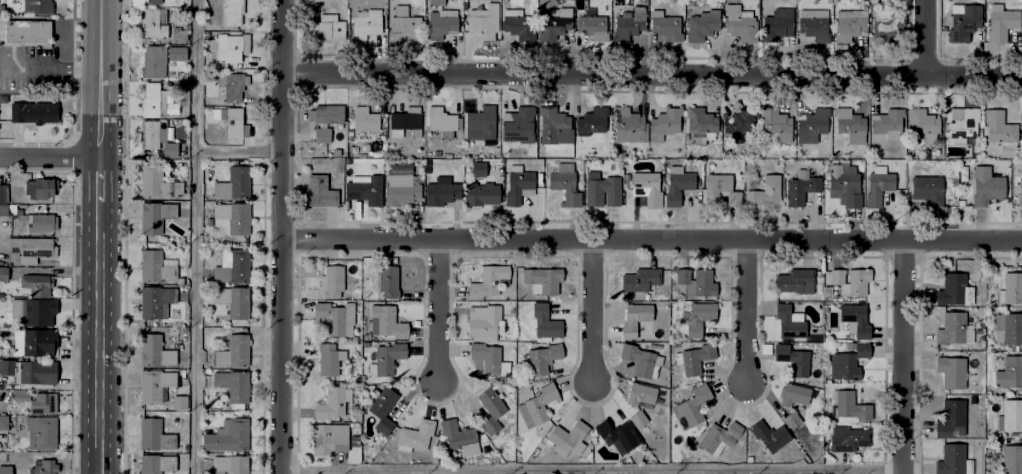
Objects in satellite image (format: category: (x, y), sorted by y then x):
building: (152, 1)
building: (435, 1)
building: (38, 6)
building: (232, 12)
building: (483, 20)
building: (963, 20)
building: (153, 22)
building: (365, 22)
building: (404, 22)
building: (440, 22)
building: (553, 22)
building: (739, 22)
building: (1002, 22)
building: (628, 23)
building: (776, 23)
building: (812, 23)
building: (885, 23)
building: (517, 24)
building: (664, 24)
building: (848, 24)
building: (592, 25)
building: (700, 25)
building: (327, 26)
building: (941, 28)
building: (29, 30)
building: (177, 33)
road: (927, 40)
building: (227, 47)
building: (175, 52)
building: (152, 61)
road: (51, 70)
road: (652, 77)
road: (101, 79)
building: (230, 85)
building: (149, 98)
building: (34, 110)
building: (327, 112)
building: (230, 115)
building: (405, 117)
building: (364, 118)
building: (590, 119)
building: (442, 120)
building: (740, 120)
building: (701, 121)
building: (480, 122)
building: (664, 122)
building: (776, 122)
building: (887, 122)
building: (922, 122)
building: (516, 123)
building: (627, 123)
building: (811, 123)
building: (962, 123)
building: (850, 125)
building: (553, 126)
building: (999, 126)
building: (148, 133)
building: (321, 133)
building: (168, 148)
road: (240, 152)
road: (50, 160)
building: (477, 167)
building: (399, 169)
road: (101, 180)
building: (233, 182)
building: (563, 182)
building: (879, 182)
building: (156, 183)
building: (517, 183)
building: (677, 183)
building: (843, 183)
building: (646, 186)
building: (986, 186)
building: (1020, 186)
building: (722, 187)
building: (40, 188)
building: (363, 188)
building: (399, 188)
building: (800, 188)
building: (926, 188)
building: (601, 189)
building: (318, 190)
building: (441, 190)
building: (764, 190)
building: (4, 193)
building: (479, 193)
building: (154, 215)
building: (232, 216)
building: (43, 222)
road: (283, 236)
road: (196, 237)
road: (653, 242)
building: (32, 248)
building: (229, 265)
building: (153, 266)
building: (4, 274)
building: (793, 275)
building: (387, 279)
building: (541, 279)
building: (640, 279)
building: (331, 280)
building: (488, 280)
building: (851, 280)
building: (695, 281)
building: (37, 283)
building: (1010, 287)
building: (955, 288)
building: (153, 299)
building: (231, 300)
building: (38, 311)
road: (591, 312)
road: (747, 312)
road: (437, 314)
building: (699, 316)
building: (333, 317)
building: (635, 317)
building: (855, 318)
building: (484, 320)
building: (386, 321)
building: (544, 321)
building: (789, 321)
building: (1010, 326)
building: (952, 328)
road: (101, 337)
building: (35, 342)
building: (153, 351)
building: (232, 351)
building: (385, 357)
building: (542, 357)
building: (328, 358)
building: (640, 358)
building: (692, 358)
road: (904, 358)
building: (486, 359)
building: (791, 359)
building: (848, 361)
building: (31, 370)
building: (951, 371)
building: (1010, 371)
building: (153, 385)
building: (232, 385)
building: (640, 393)
building: (793, 393)
building: (21, 395)
building: (971, 399)
building: (42, 402)
building: (177, 402)
building: (331, 403)
building: (538, 403)
building: (692, 405)
building: (847, 406)
building: (490, 409)
building: (381, 410)
building: (1010, 415)
building: (951, 416)
building: (637, 418)
building: (791, 419)
building: (3, 423)
building: (42, 432)
building: (153, 434)
building: (417, 434)
building: (616, 434)
building: (769, 434)
building: (227, 435)
building: (456, 436)
building: (718, 436)
building: (329, 437)
building: (568, 437)
building: (848, 438)
building: (1012, 459)
building: (953, 460)
building: (155, 463)
building: (229, 464)
building: (43, 466)
building: (5, 467)
road: (593, 470)

